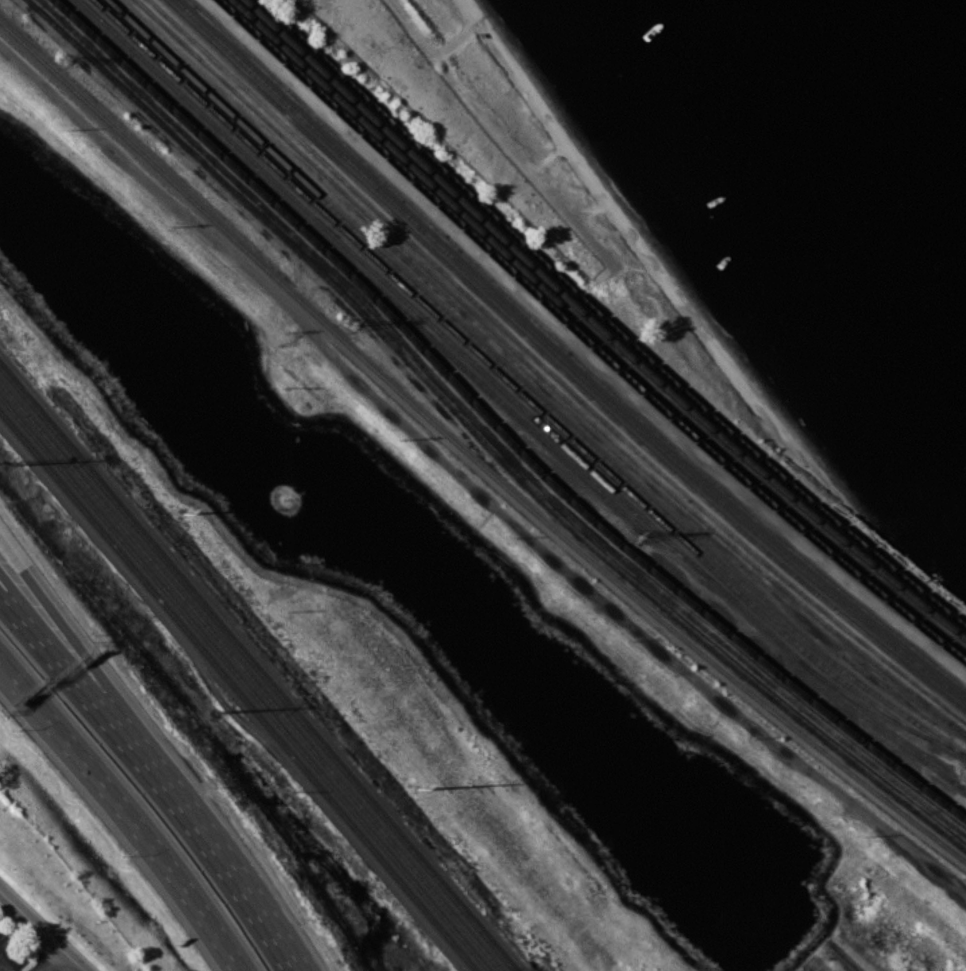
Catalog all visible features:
railway: (383, 293)
railway: (606, 321)
railway: (598, 327)
railway: (592, 333)
railway: (585, 339)
road: (579, 343)
railway: (570, 352)
railway: (563, 359)
railway: (555, 365)
railway: (549, 371)
railway: (542, 377)
railway: (504, 379)
railway: (528, 388)
railway: (517, 402)
railway: (495, 426)
railway: (487, 434)
railway: (482, 441)
railway: (470, 456)
road: (16, 604)
road: (16, 610)
railway: (257, 667)
road: (98, 675)
railway: (250, 676)
railway: (244, 684)
railway: (238, 690)
road: (29, 696)
road: (29, 703)
railway: (878, 713)
road: (113, 723)
road: (155, 847)
road: (248, 892)
road: (41, 930)
road: (51, 961)

